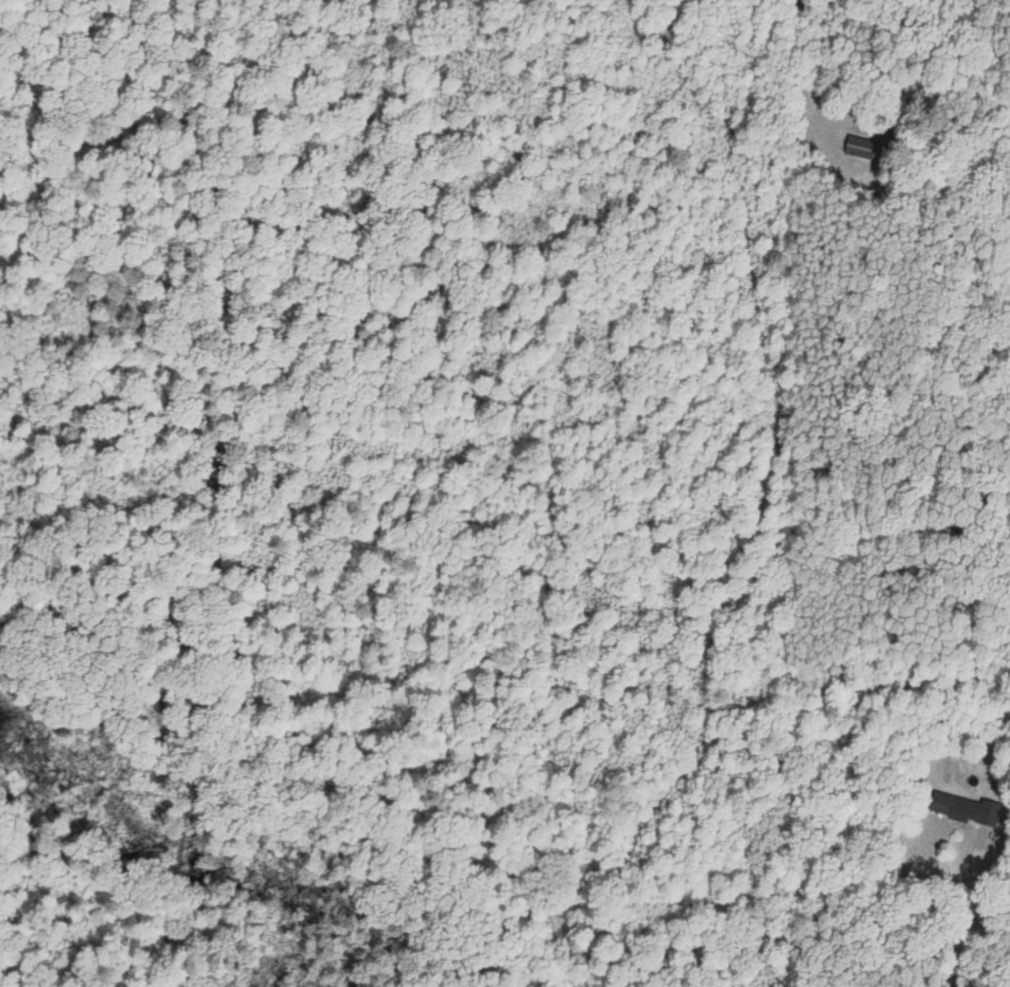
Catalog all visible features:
building: (863, 147)
building: (967, 811)

